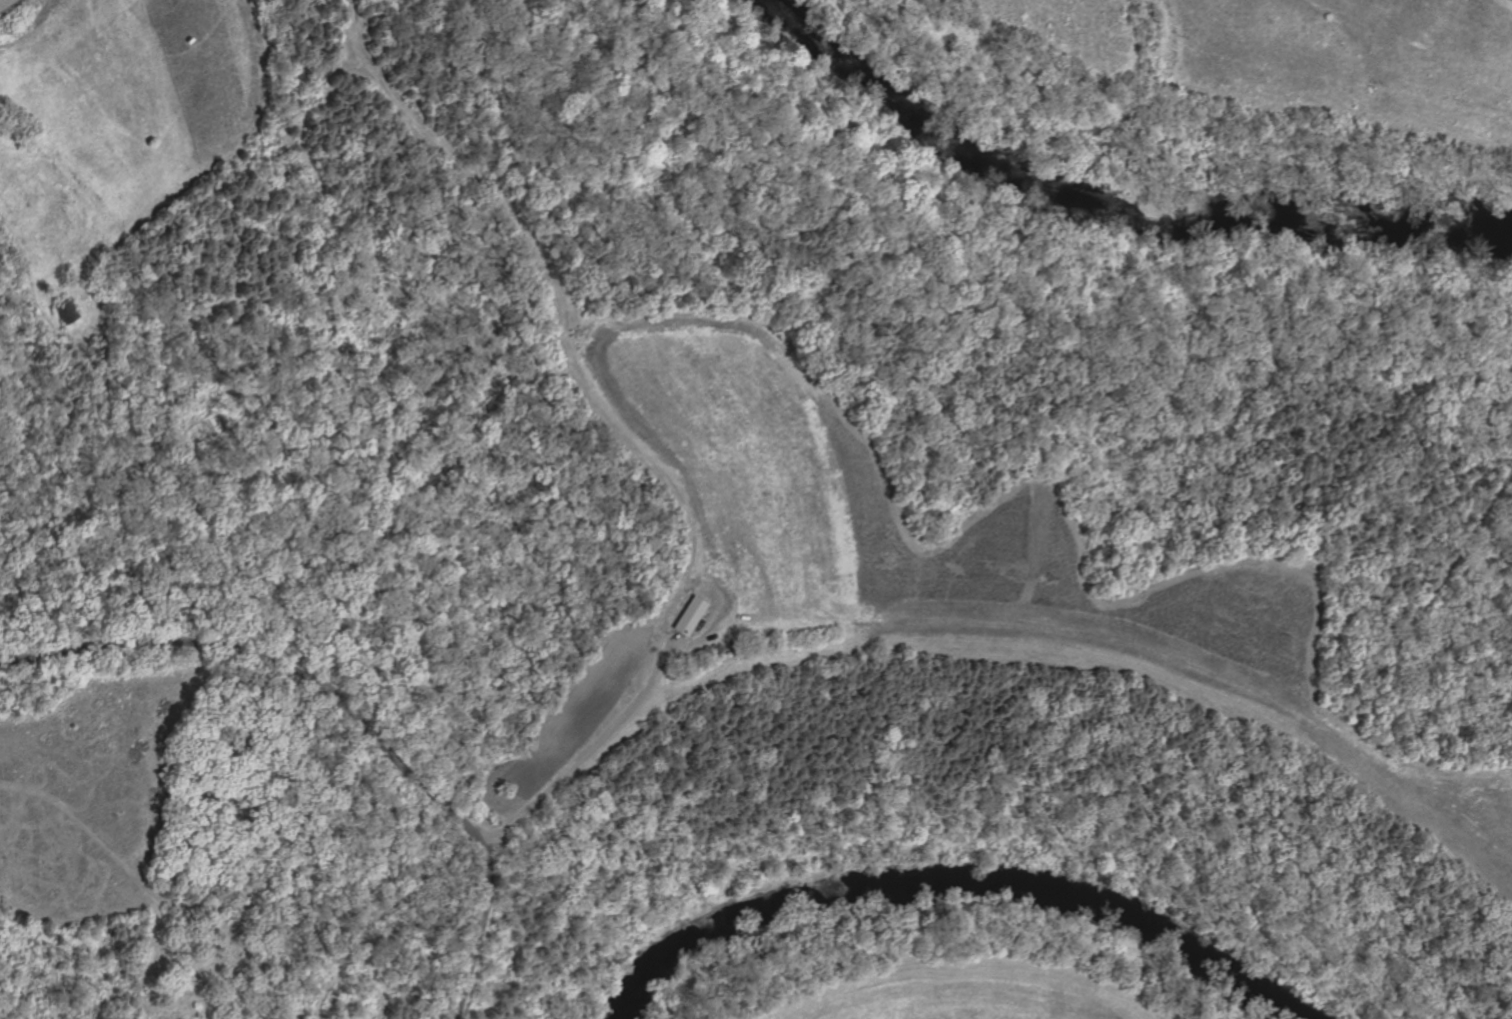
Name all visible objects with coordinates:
crop: (10, 7)
road: (562, 311)
building: (69, 314)
building: (692, 616)
road: (690, 641)
road: (349, 710)
road: (590, 749)

